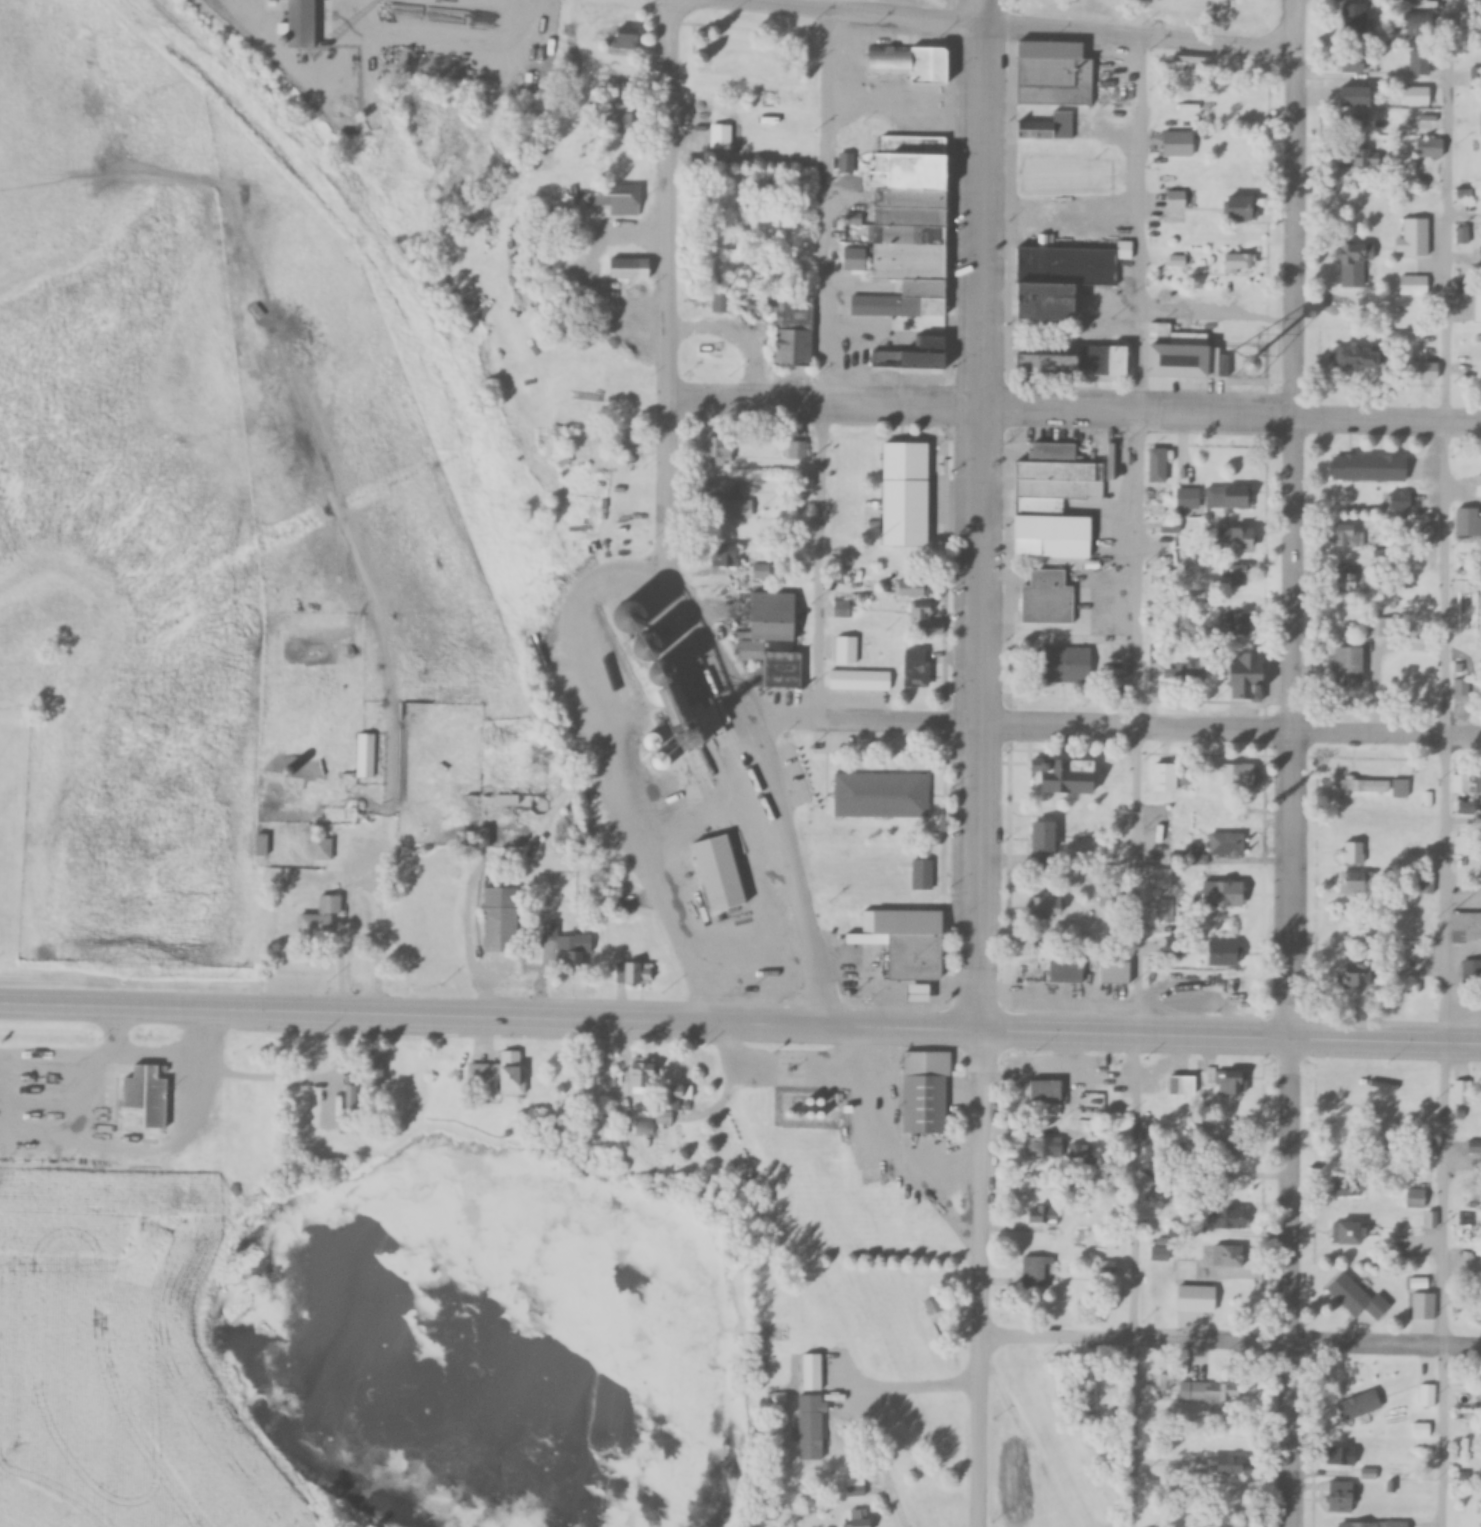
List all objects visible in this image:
road: (861, 15)
building: (1355, 18)
building: (308, 23)
building: (1419, 23)
building: (628, 38)
road: (1139, 42)
building: (725, 53)
building: (901, 62)
building: (1355, 62)
building: (1420, 62)
building: (1056, 73)
building: (615, 75)
road: (1370, 76)
building: (1418, 95)
building: (1252, 96)
building: (1358, 96)
building: (1419, 121)
building: (622, 122)
building: (1050, 127)
building: (1178, 144)
building: (1430, 147)
building: (1361, 155)
building: (1160, 176)
building: (618, 199)
building: (1175, 200)
building: (1243, 208)
building: (910, 214)
building: (1414, 238)
building: (1350, 254)
building: (631, 269)
building: (1065, 278)
building: (1414, 286)
building: (1355, 291)
building: (701, 299)
building: (1478, 300)
building: (875, 305)
building: (794, 347)
building: (915, 355)
building: (1361, 357)
building: (1184, 360)
building: (1071, 363)
road: (823, 366)
road: (826, 407)
road: (1231, 415)
road: (670, 449)
building: (797, 450)
building: (723, 451)
building: (1157, 465)
building: (1369, 467)
building: (908, 476)
building: (721, 488)
building: (1228, 497)
building: (1188, 498)
building: (1055, 499)
building: (1397, 500)
building: (1159, 510)
road: (979, 517)
road: (1290, 518)
road: (1444, 521)
building: (1469, 522)
building: (1347, 535)
building: (1240, 539)
road: (1135, 573)
building: (1239, 575)
building: (1350, 578)
building: (915, 588)
building: (1048, 598)
building: (920, 611)
building: (1233, 624)
building: (934, 627)
building: (1382, 627)
building: (775, 641)
building: (1064, 664)
building: (1351, 666)
building: (918, 667)
building: (1183, 674)
building: (1249, 674)
building: (861, 680)
building: (1459, 688)
road: (858, 723)
road: (1228, 734)
building: (364, 755)
building: (1234, 775)
building: (1069, 776)
building: (1166, 777)
building: (1460, 784)
building: (1478, 784)
building: (1376, 787)
building: (882, 796)
building: (508, 800)
building: (1467, 808)
building: (1047, 839)
building: (1227, 844)
building: (261, 845)
building: (1461, 845)
building: (322, 849)
building: (1353, 853)
building: (723, 874)
building: (923, 878)
building: (1162, 879)
building: (1359, 883)
building: (1226, 894)
building: (1049, 908)
building: (614, 909)
building: (321, 917)
building: (502, 920)
building: (1466, 926)
building: (907, 942)
building: (571, 949)
road: (804, 952)
building: (1226, 953)
building: (1059, 972)
building: (1116, 972)
building: (1472, 972)
building: (635, 973)
building: (1359, 974)
road: (490, 1021)
road: (1136, 1036)
road: (1386, 1041)
building: (608, 1069)
building: (374, 1071)
building: (501, 1073)
building: (642, 1076)
building: (1231, 1083)
building: (1182, 1085)
building: (1046, 1091)
building: (926, 1092)
building: (677, 1095)
building: (351, 1100)
building: (146, 1101)
building: (1474, 1147)
building: (1046, 1148)
building: (1232, 1151)
building: (1347, 1188)
building: (1419, 1198)
building: (1043, 1215)
building: (1350, 1233)
building: (1228, 1255)
building: (1037, 1272)
road: (981, 1280)
road: (1291, 1282)
airport: (123, 1294)
building: (1359, 1299)
building: (1461, 1304)
road: (1231, 1345)
building: (814, 1372)
building: (1211, 1392)
road: (856, 1401)
building: (1360, 1406)
building: (809, 1416)
road: (1129, 1435)
road: (1441, 1438)
building: (1347, 1457)
building: (1229, 1465)
building: (1343, 1497)
building: (860, 1519)
building: (1359, 1525)

